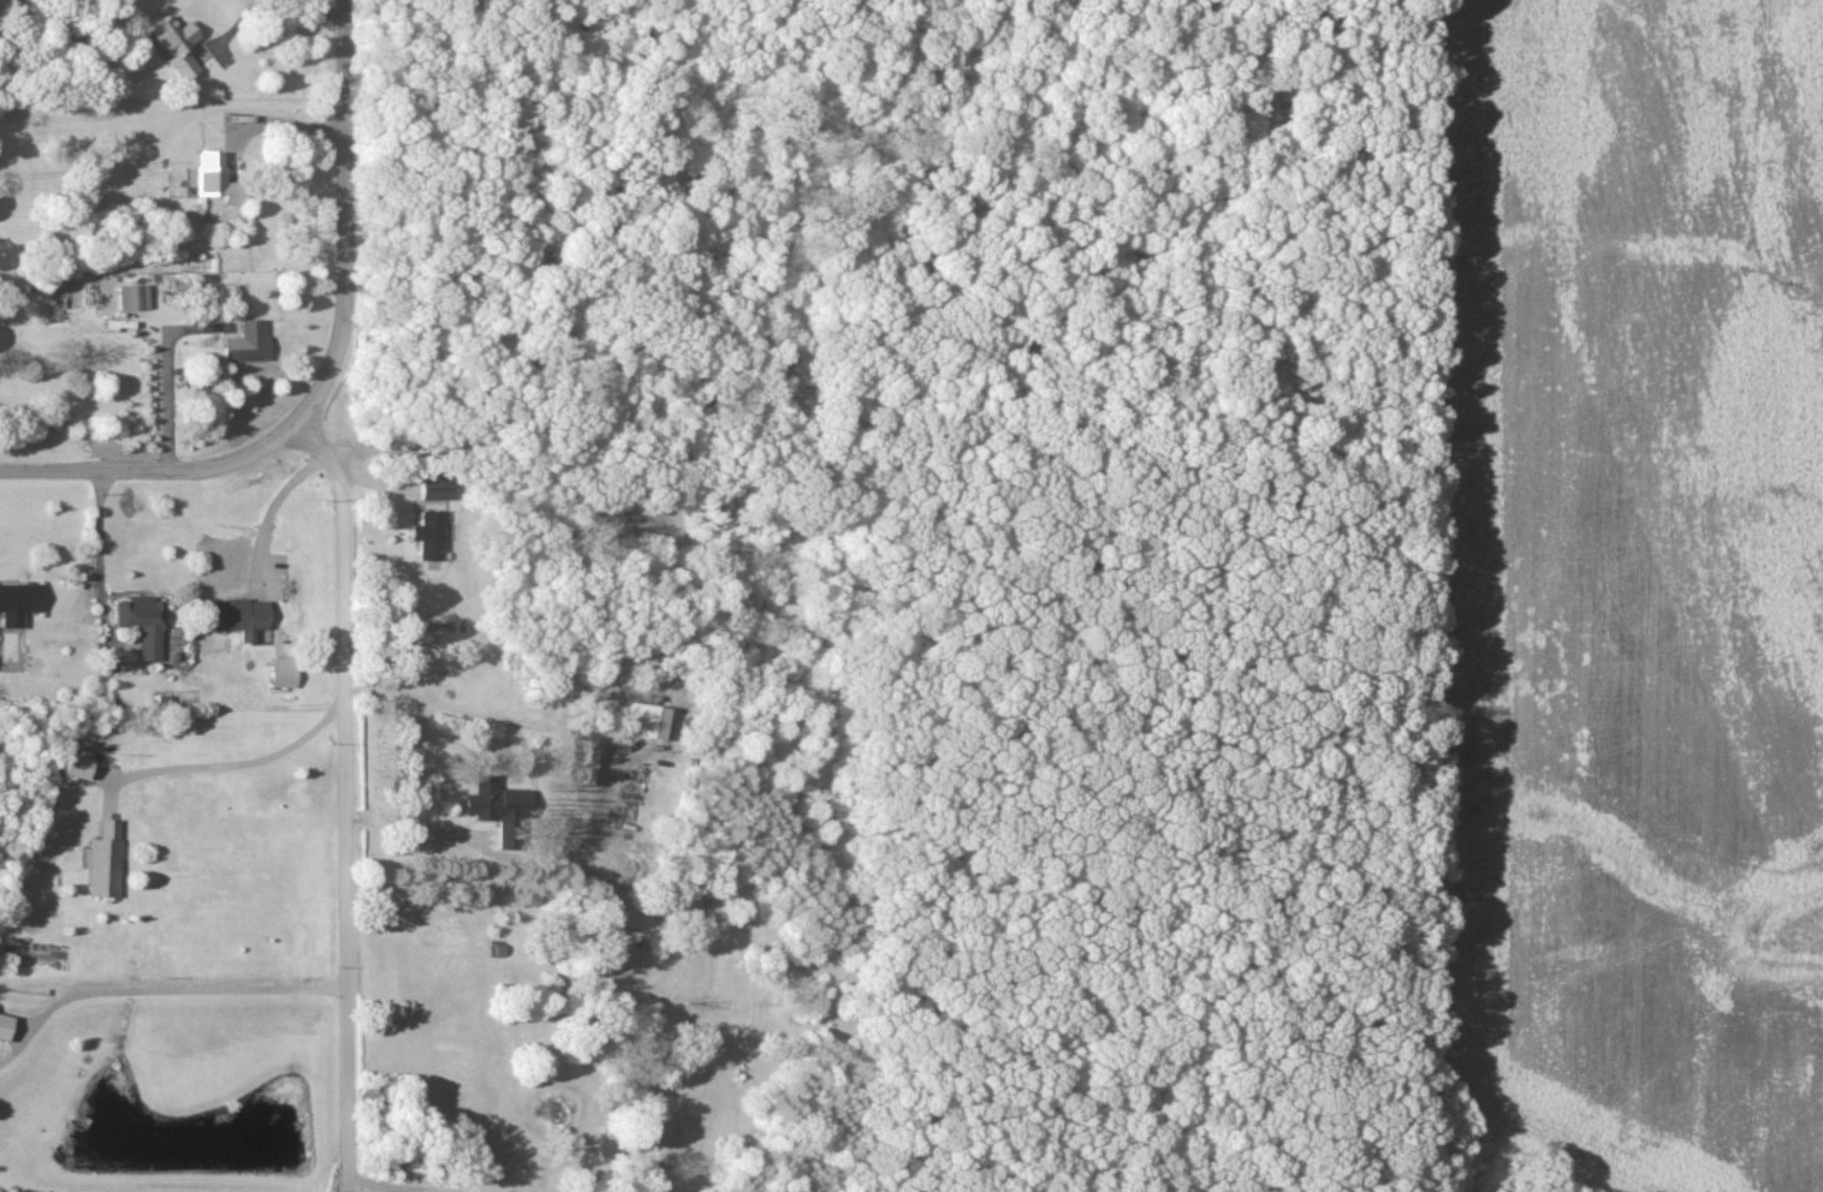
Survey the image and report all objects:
building: (174, 46)
building: (214, 180)
building: (132, 299)
building: (245, 345)
road: (164, 374)
road: (155, 466)
building: (439, 494)
building: (429, 537)
road: (345, 579)
building: (17, 606)
building: (239, 620)
building: (143, 626)
building: (645, 723)
building: (78, 762)
road: (231, 764)
building: (586, 769)
building: (494, 804)
building: (105, 863)
road: (160, 989)
building: (4, 1030)
road: (376, 1187)

